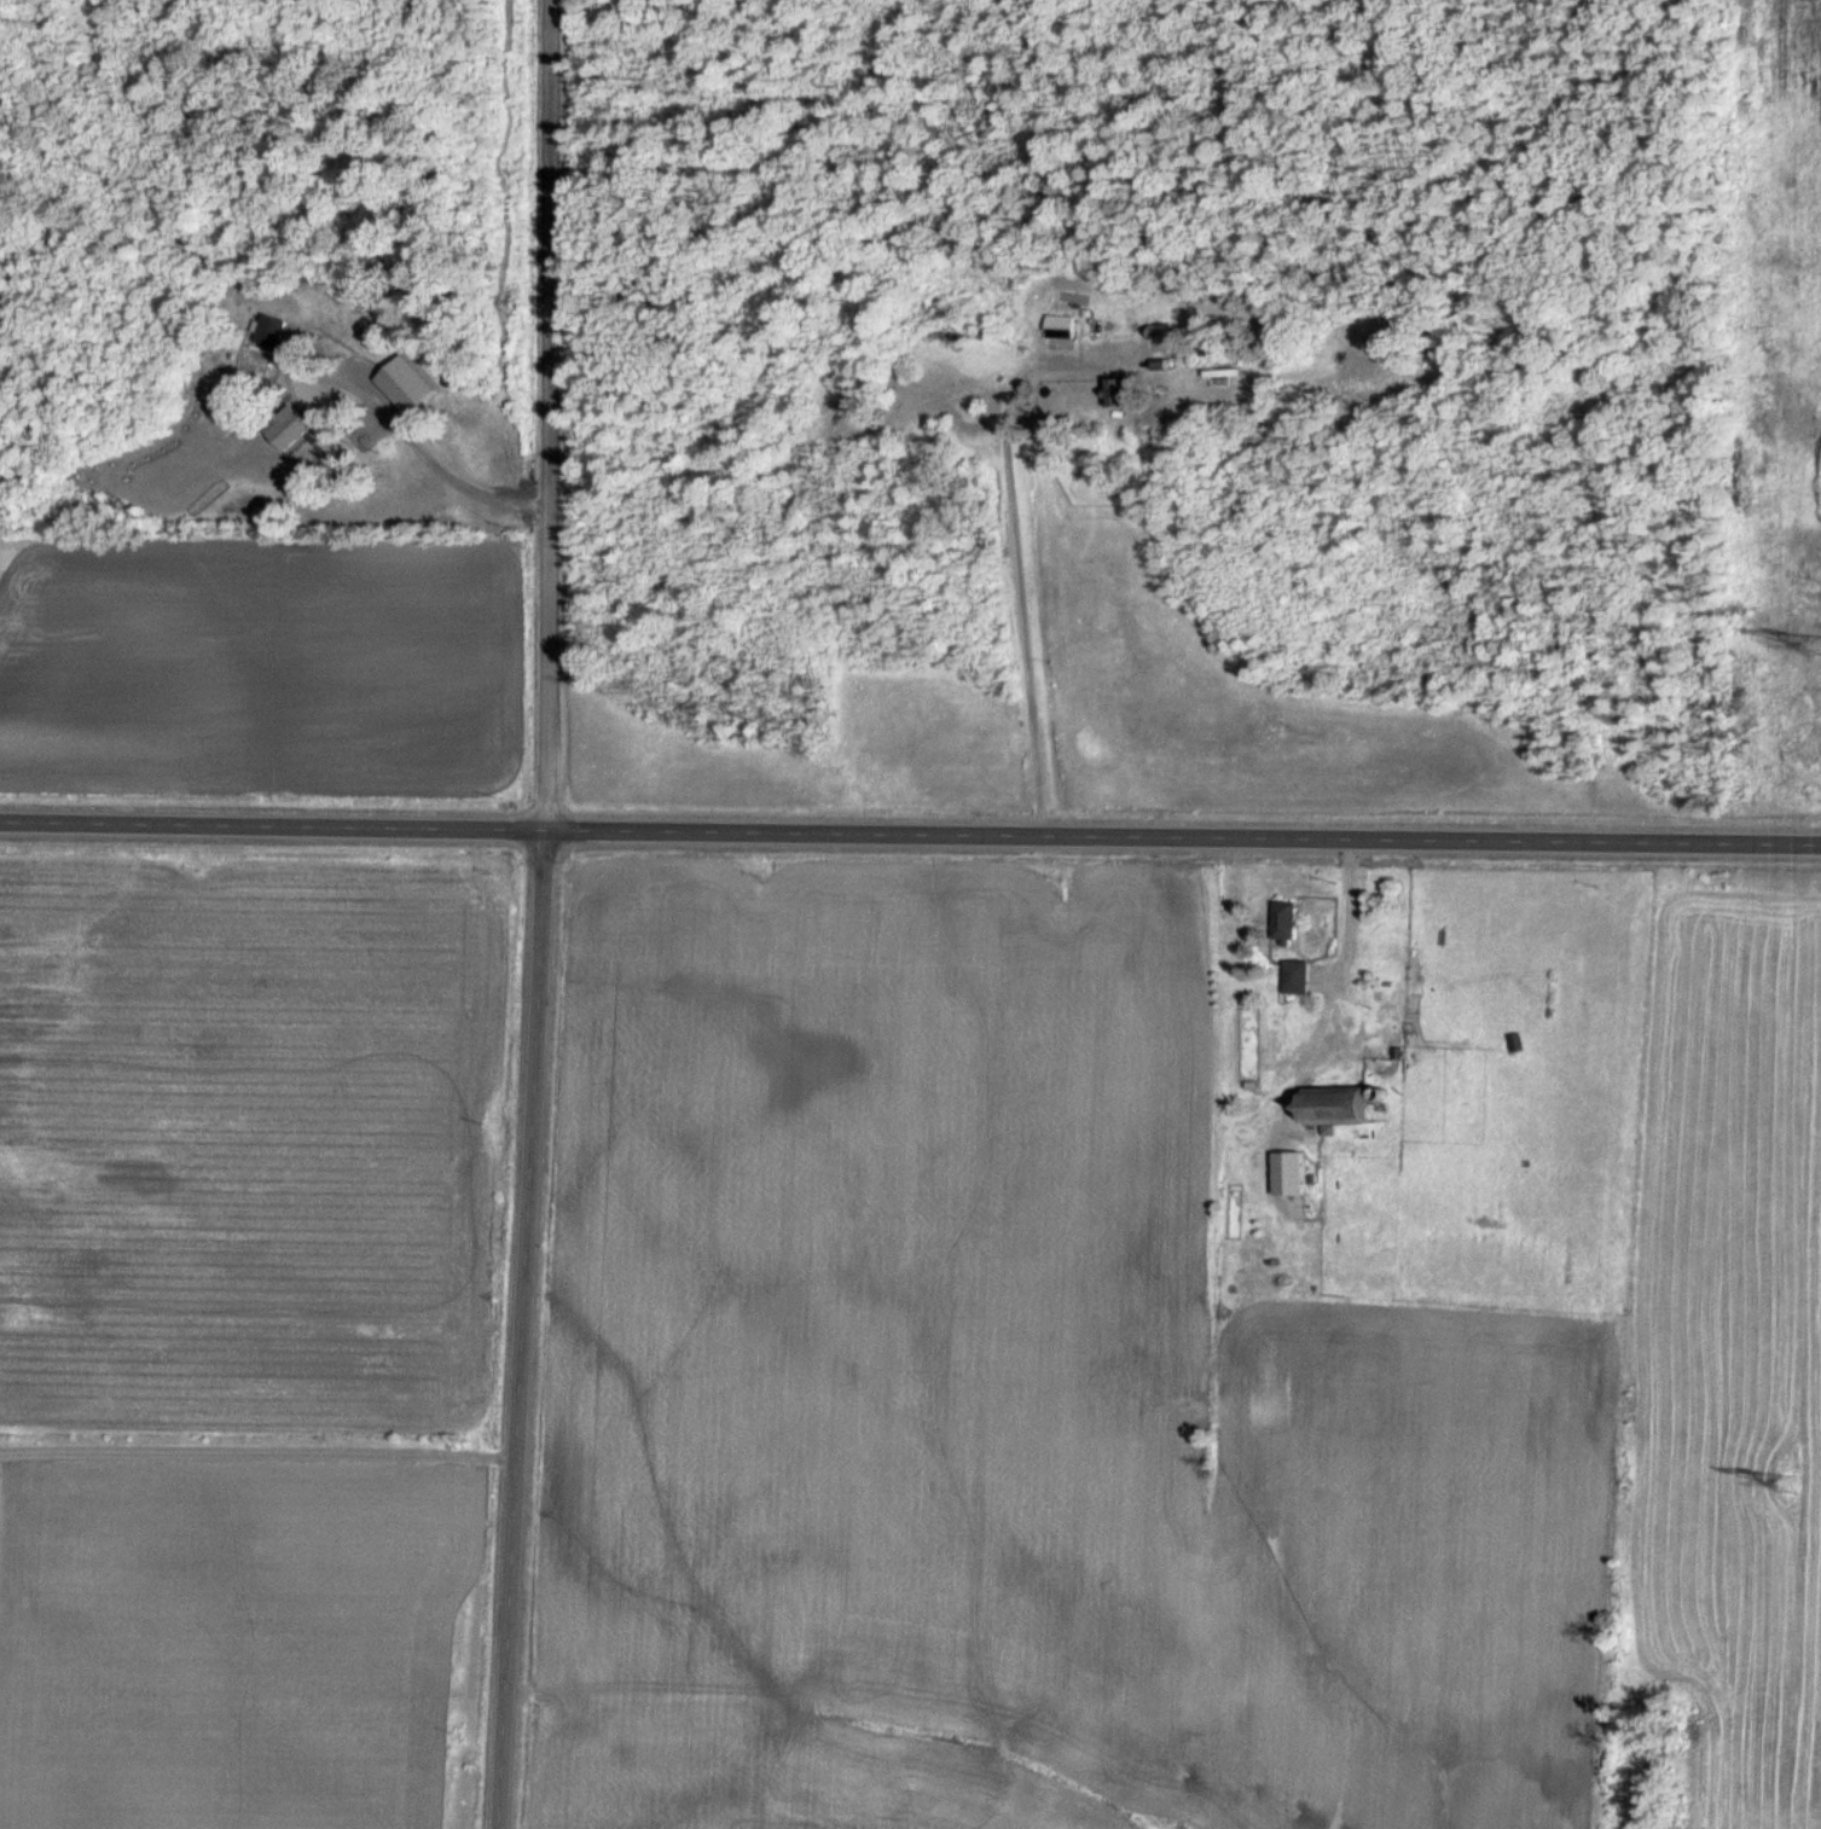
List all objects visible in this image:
building: (1121, 394)
building: (296, 429)
road: (428, 468)
road: (1025, 614)
power tower: (1814, 648)
road: (910, 832)
road: (543, 914)
building: (1293, 922)
building: (1299, 977)
building: (1251, 1045)
building: (1345, 1107)
building: (1295, 1174)
power tower: (1790, 1483)

